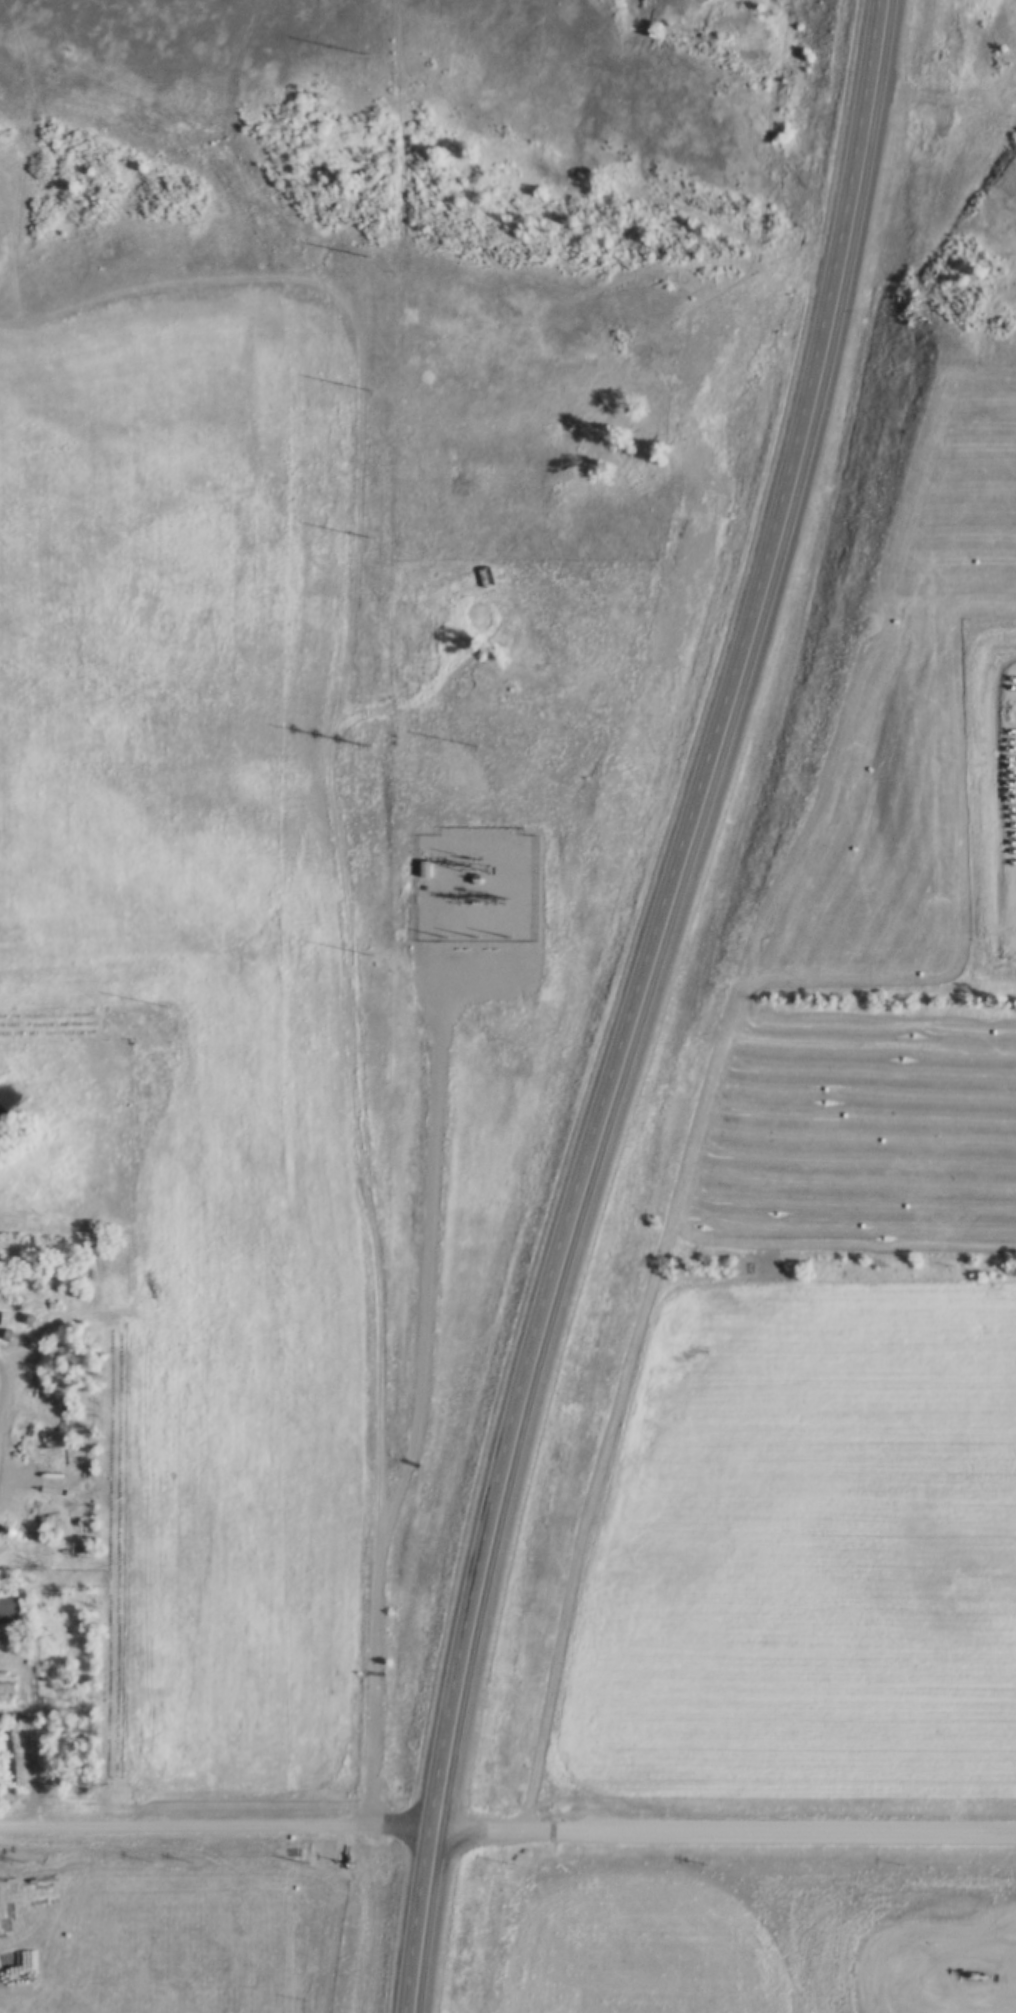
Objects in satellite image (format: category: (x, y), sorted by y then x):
building: (423, 865)
power substation: (473, 884)
road: (641, 1004)
road: (364, 1181)
road: (422, 1264)
road: (3, 1403)
building: (9, 1532)
building: (9, 1605)
road: (217, 1831)
road: (725, 1834)

